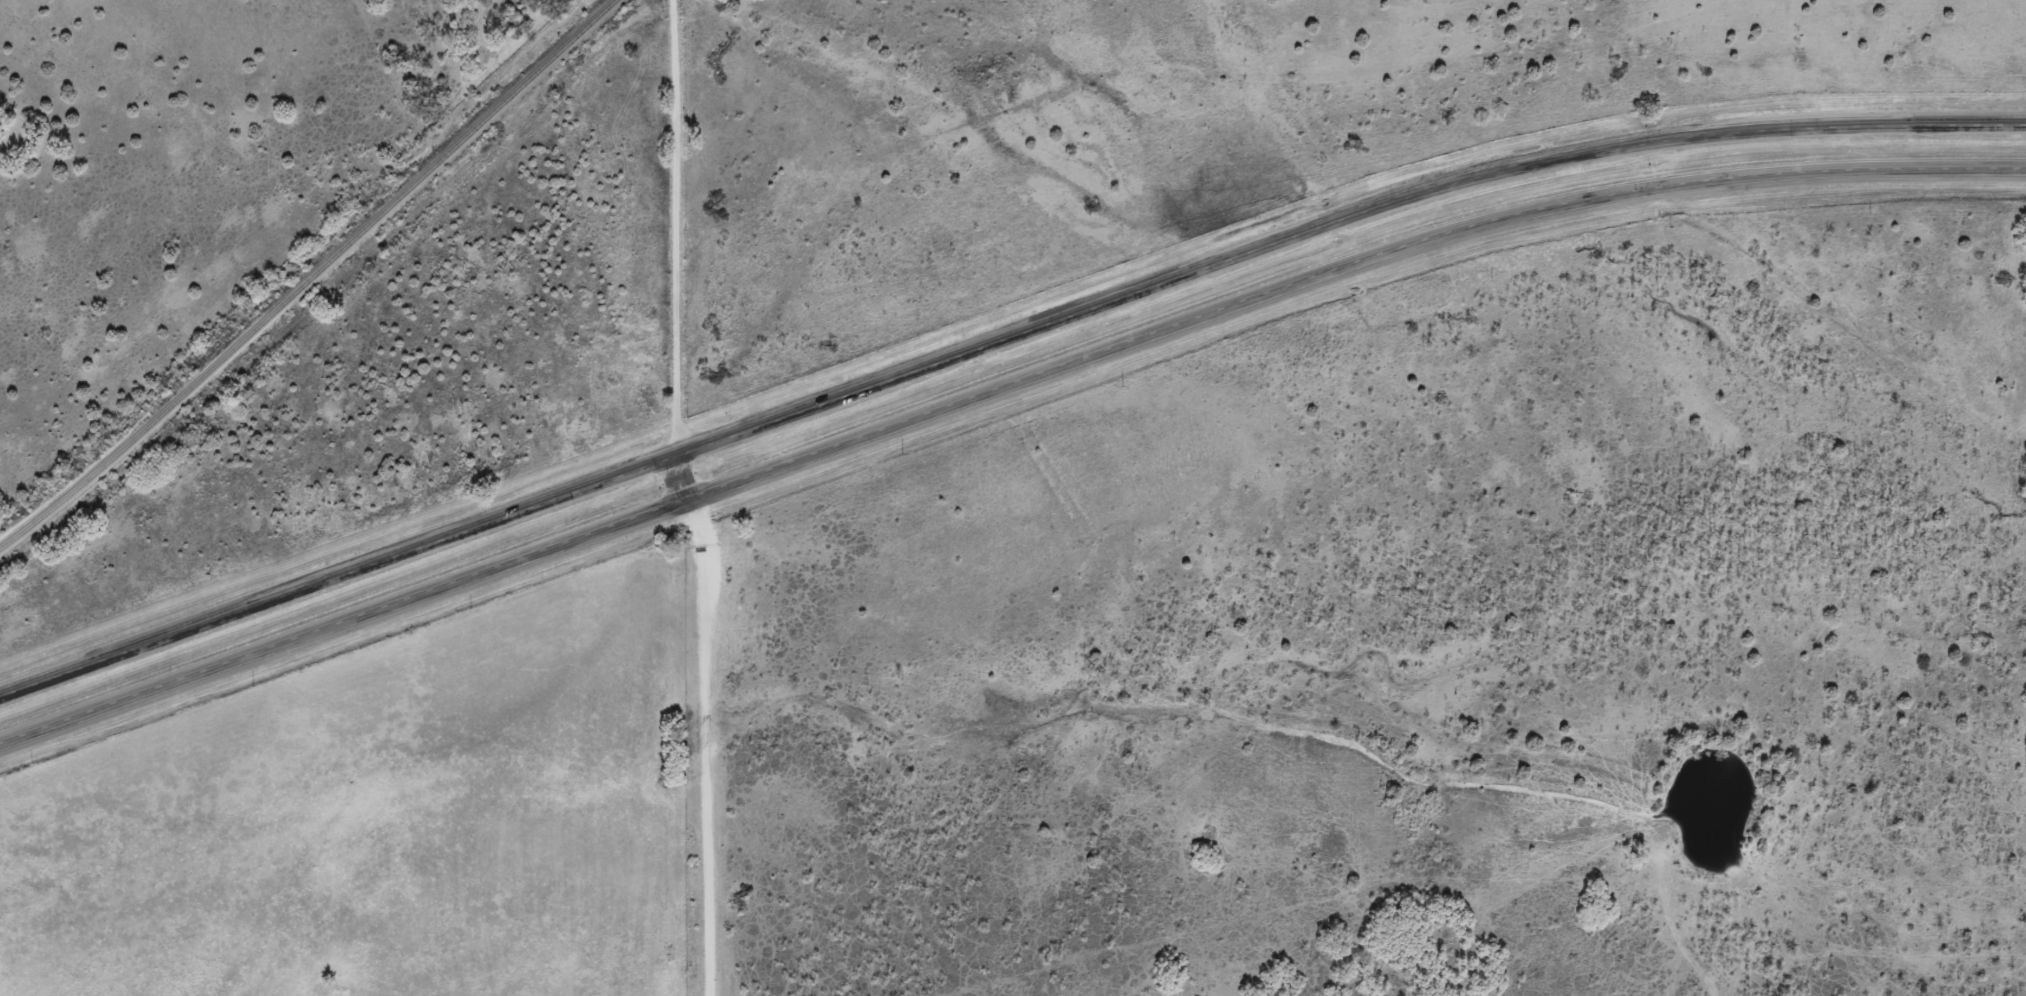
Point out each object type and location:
road: (677, 252)
railway: (311, 278)
road: (998, 344)
road: (999, 395)
road: (708, 748)

